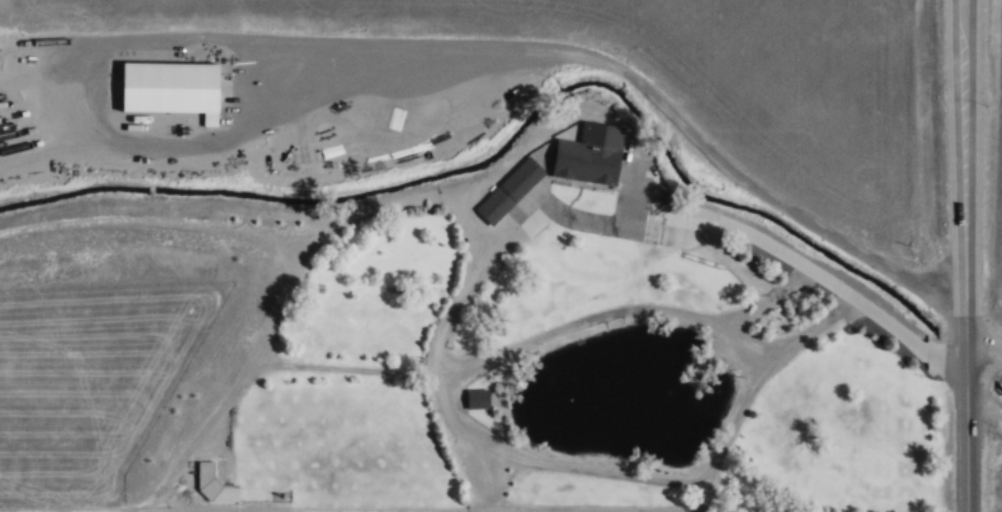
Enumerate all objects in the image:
building: (589, 155)
road: (964, 155)
building: (509, 190)
road: (342, 215)
building: (967, 223)
road: (638, 262)
road: (837, 309)
road: (913, 329)
road: (542, 335)
road: (985, 336)
building: (699, 368)
road: (250, 372)
building: (477, 397)
road: (986, 408)
road: (969, 411)
road: (464, 436)
road: (594, 467)
building: (213, 484)
road: (457, 510)

